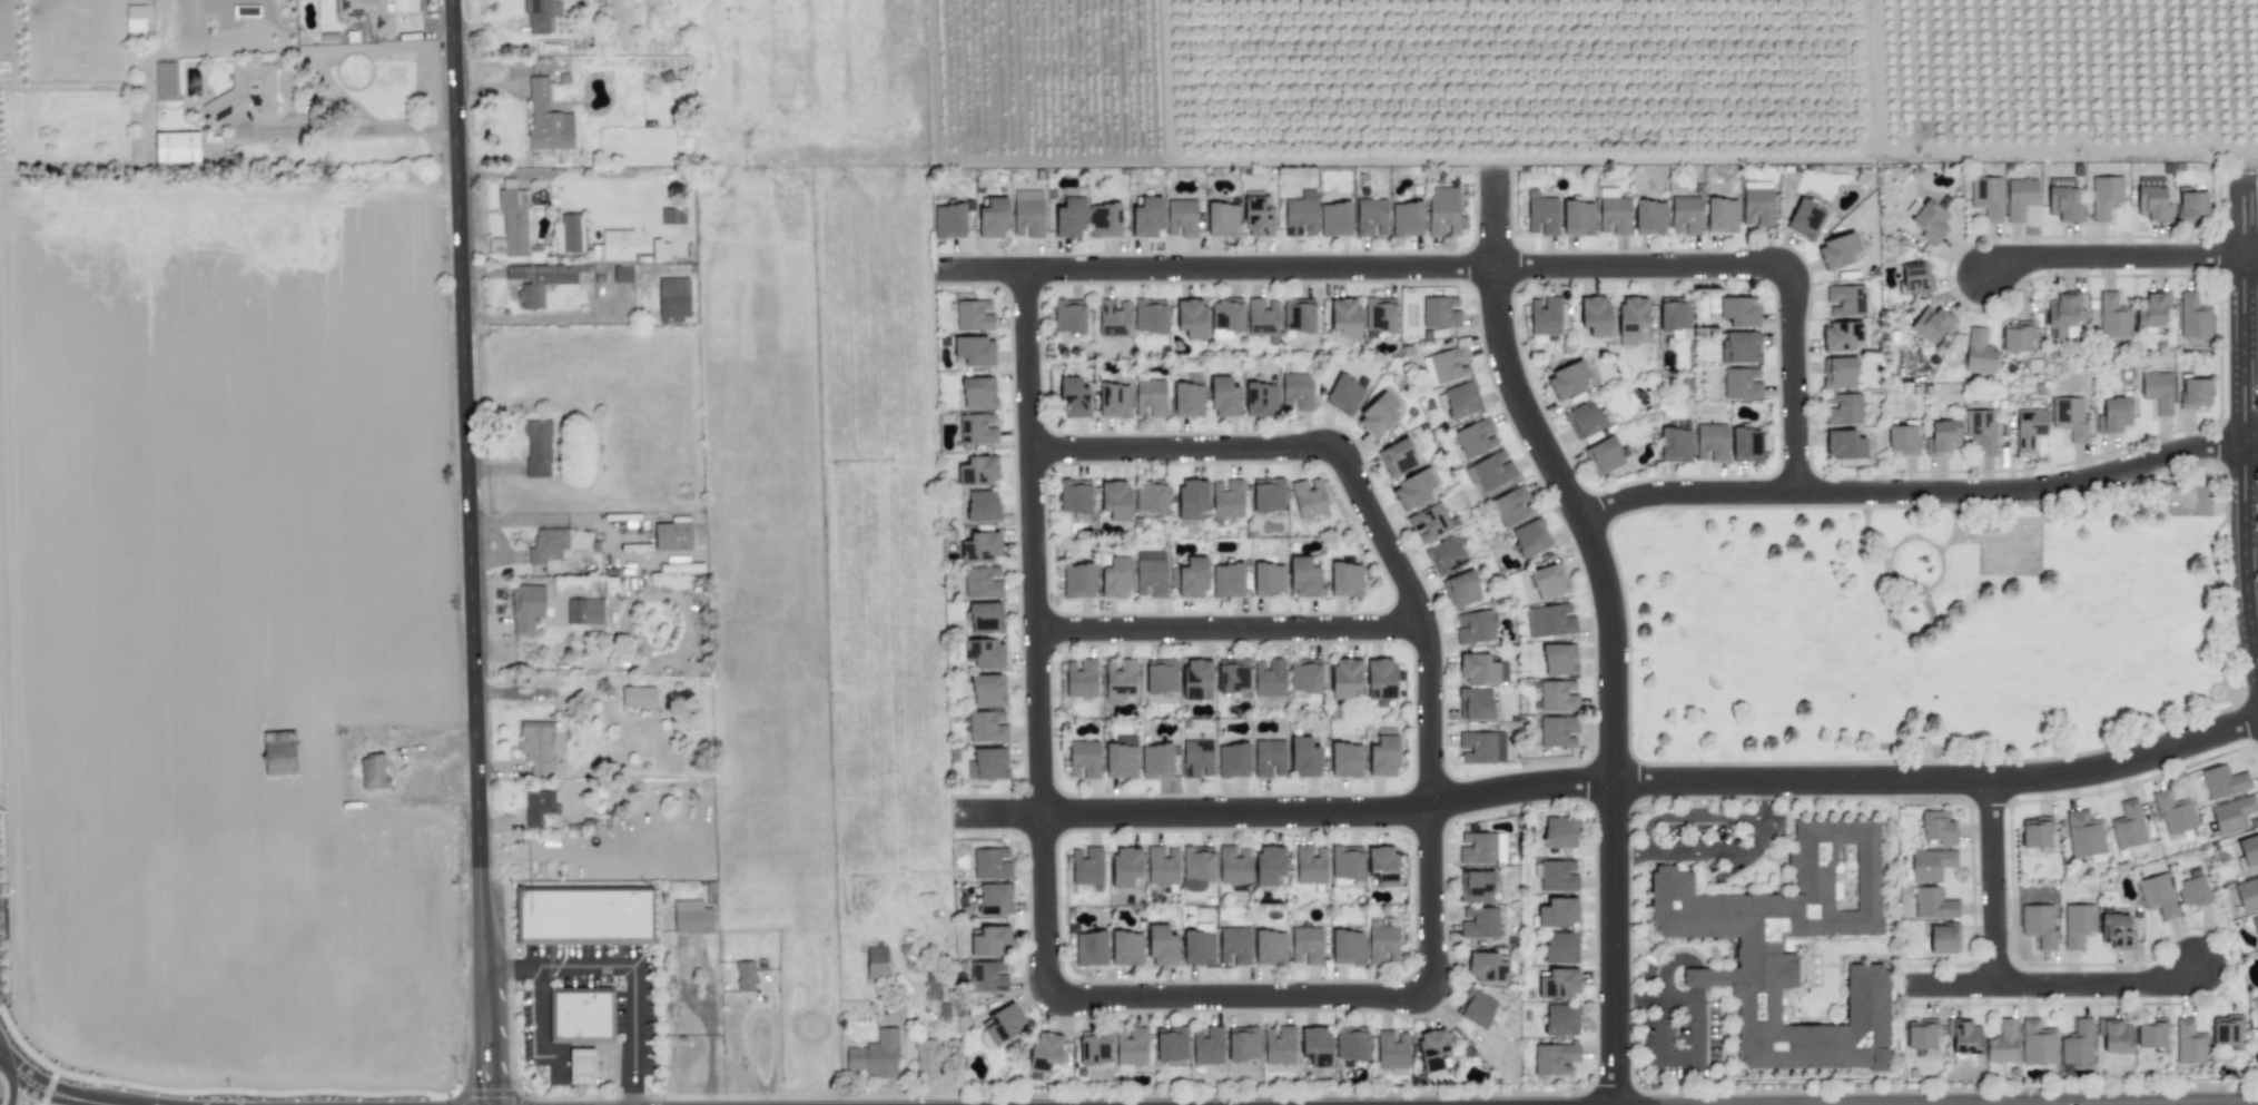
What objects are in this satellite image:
building: (367, 12)
building: (541, 13)
building: (135, 18)
road: (283, 46)
building: (165, 79)
building: (243, 92)
building: (546, 119)
road: (347, 130)
building: (177, 147)
road: (893, 165)
building: (2106, 196)
building: (1988, 197)
building: (2020, 197)
building: (2152, 198)
building: (2063, 199)
building: (2192, 205)
building: (1757, 206)
building: (1444, 211)
building: (1028, 213)
building: (1614, 213)
building: (1301, 214)
building: (1542, 215)
building: (1686, 215)
building: (1722, 215)
building: (672, 216)
building: (1258, 216)
building: (1071, 217)
building: (1147, 217)
building: (1182, 217)
building: (1371, 217)
building: (1578, 217)
building: (1650, 217)
building: (993, 218)
building: (1335, 218)
building: (1408, 218)
building: (1223, 219)
building: (1806, 219)
building: (949, 220)
building: (1105, 220)
building: (1930, 221)
building: (511, 224)
building: (569, 234)
building: (621, 244)
building: (661, 250)
building: (1838, 250)
road: (2250, 256)
road: (2113, 257)
road: (1364, 267)
building: (622, 274)
building: (1917, 277)
building: (539, 280)
building: (673, 298)
building: (1845, 299)
building: (2153, 309)
building: (1739, 310)
building: (1440, 312)
building: (2064, 313)
building: (974, 315)
building: (1069, 315)
building: (1150, 315)
building: (1226, 315)
building: (1299, 315)
building: (1545, 315)
building: (1595, 315)
building: (1380, 316)
building: (1675, 316)
building: (2113, 316)
building: (2195, 316)
road: (541, 317)
building: (1114, 317)
building: (1262, 317)
building: (1345, 317)
building: (1192, 318)
building: (1631, 318)
building: (1932, 323)
building: (1841, 335)
building: (2017, 336)
building: (1741, 346)
building: (974, 351)
building: (1979, 352)
road: (1505, 353)
building: (1447, 365)
building: (1567, 379)
road: (1797, 381)
building: (1742, 383)
building: (1296, 391)
building: (2158, 391)
building: (978, 393)
building: (2196, 393)
building: (1344, 394)
building: (1074, 397)
building: (1151, 397)
building: (1224, 397)
building: (1189, 398)
building: (1261, 398)
building: (1459, 399)
building: (1114, 401)
building: (1843, 408)
building: (1378, 414)
road: (2246, 414)
building: (2114, 415)
building: (2070, 416)
building: (1585, 421)
building: (2030, 427)
building: (977, 428)
building: (1982, 430)
building: (1943, 436)
building: (1476, 437)
building: (1903, 438)
building: (1712, 442)
building: (1675, 444)
building: (1747, 444)
building: (1845, 444)
road: (1206, 447)
building: (538, 448)
building: (1605, 455)
building: (1398, 457)
building: (1491, 470)
building: (978, 471)
building: (1416, 487)
road: (1922, 492)
building: (1269, 494)
building: (2180, 494)
building: (1075, 495)
building: (1151, 496)
building: (1192, 497)
building: (1227, 497)
building: (1309, 497)
building: (1115, 500)
building: (983, 505)
building: (1512, 506)
building: (1430, 522)
building: (672, 536)
building: (1531, 537)
building: (548, 544)
building: (982, 546)
road: (62, 552)
road: (470, 552)
building: (1444, 555)
building: (1151, 573)
building: (1116, 578)
building: (1193, 578)
building: (1303, 578)
building: (1269, 579)
building: (1227, 580)
building: (1345, 580)
building: (1078, 581)
building: (1549, 581)
building: (983, 582)
building: (1461, 589)
building: (526, 608)
building: (584, 611)
building: (986, 618)
building: (1550, 620)
building: (1475, 627)
park: (1931, 628)
road: (1233, 630)
road: (1042, 632)
building: (985, 652)
building: (1560, 659)
building: (1481, 668)
building: (1305, 674)
building: (1162, 675)
building: (1233, 675)
building: (1270, 677)
building: (1345, 677)
building: (1081, 678)
building: (1381, 678)
building: (1197, 679)
building: (1120, 680)
building: (988, 690)
building: (1558, 695)
building: (638, 697)
building: (1475, 703)
building: (987, 726)
road: (1433, 731)
building: (1558, 731)
building: (538, 746)
building: (1482, 746)
building: (277, 750)
building: (1383, 756)
building: (1122, 757)
building: (1304, 757)
building: (1197, 758)
building: (1270, 758)
building: (1084, 759)
building: (1156, 760)
building: (1233, 760)
building: (1347, 760)
building: (988, 763)
building: (373, 772)
building: (2224, 781)
road: (1611, 782)
building: (539, 807)
road: (1615, 809)
building: (2175, 812)
building: (2232, 815)
road: (1705, 816)
building: (2128, 825)
building: (1937, 827)
building: (1560, 831)
building: (2035, 831)
building: (2084, 833)
parking lot: (1710, 836)
road: (1757, 838)
building: (1501, 847)
building: (1478, 848)
building: (2249, 850)
road: (1631, 851)
road: (1689, 851)
building: (992, 862)
building: (1197, 862)
building: (1347, 862)
building: (1311, 864)
building: (1932, 864)
building: (1087, 865)
building: (1162, 865)
building: (1234, 865)
building: (1269, 865)
building: (1382, 865)
building: (1125, 866)
building: (1557, 875)
road: (1998, 882)
building: (1476, 886)
building: (2192, 889)
building: (2158, 895)
building: (2248, 895)
building: (995, 898)
building: (1933, 904)
building: (1558, 911)
building: (583, 917)
building: (692, 917)
building: (1479, 923)
building: (2039, 924)
building: (2078, 924)
building: (2117, 931)
building: (1944, 938)
building: (992, 940)
building: (1383, 941)
building: (1307, 945)
building: (1761, 945)
building: (1162, 946)
building: (1234, 946)
building: (1199, 947)
building: (1270, 947)
building: (1348, 947)
building: (1561, 947)
building: (1091, 948)
building: (1126, 948)
road: (689, 960)
building: (877, 963)
building: (1487, 966)
road: (629, 968)
building: (746, 975)
building: (988, 976)
building: (1559, 984)
road: (2051, 985)
road: (1243, 994)
building: (2257, 1000)
building: (1476, 1007)
parking lot: (1679, 1015)
building: (581, 1017)
gas station: (581, 1017)
building: (1561, 1019)
building: (1004, 1024)
building: (2227, 1029)
building: (2152, 1033)
building: (1921, 1034)
building: (2116, 1035)
road: (1697, 1037)
building: (1964, 1042)
building: (1243, 1043)
building: (1351, 1043)
building: (2003, 1043)
building: (2038, 1043)
building: (2078, 1043)
building: (2190, 1043)
building: (1131, 1045)
building: (1172, 1045)
building: (1207, 1045)
building: (1280, 1045)
building: (1317, 1045)
building: (1095, 1047)
building: (1432, 1048)
building: (1392, 1049)
building: (1045, 1050)
building: (876, 1055)
building: (1555, 1058)
building: (926, 1059)
road: (709, 1065)
building: (581, 1066)
road: (13, 1077)
road: (83, 1096)

